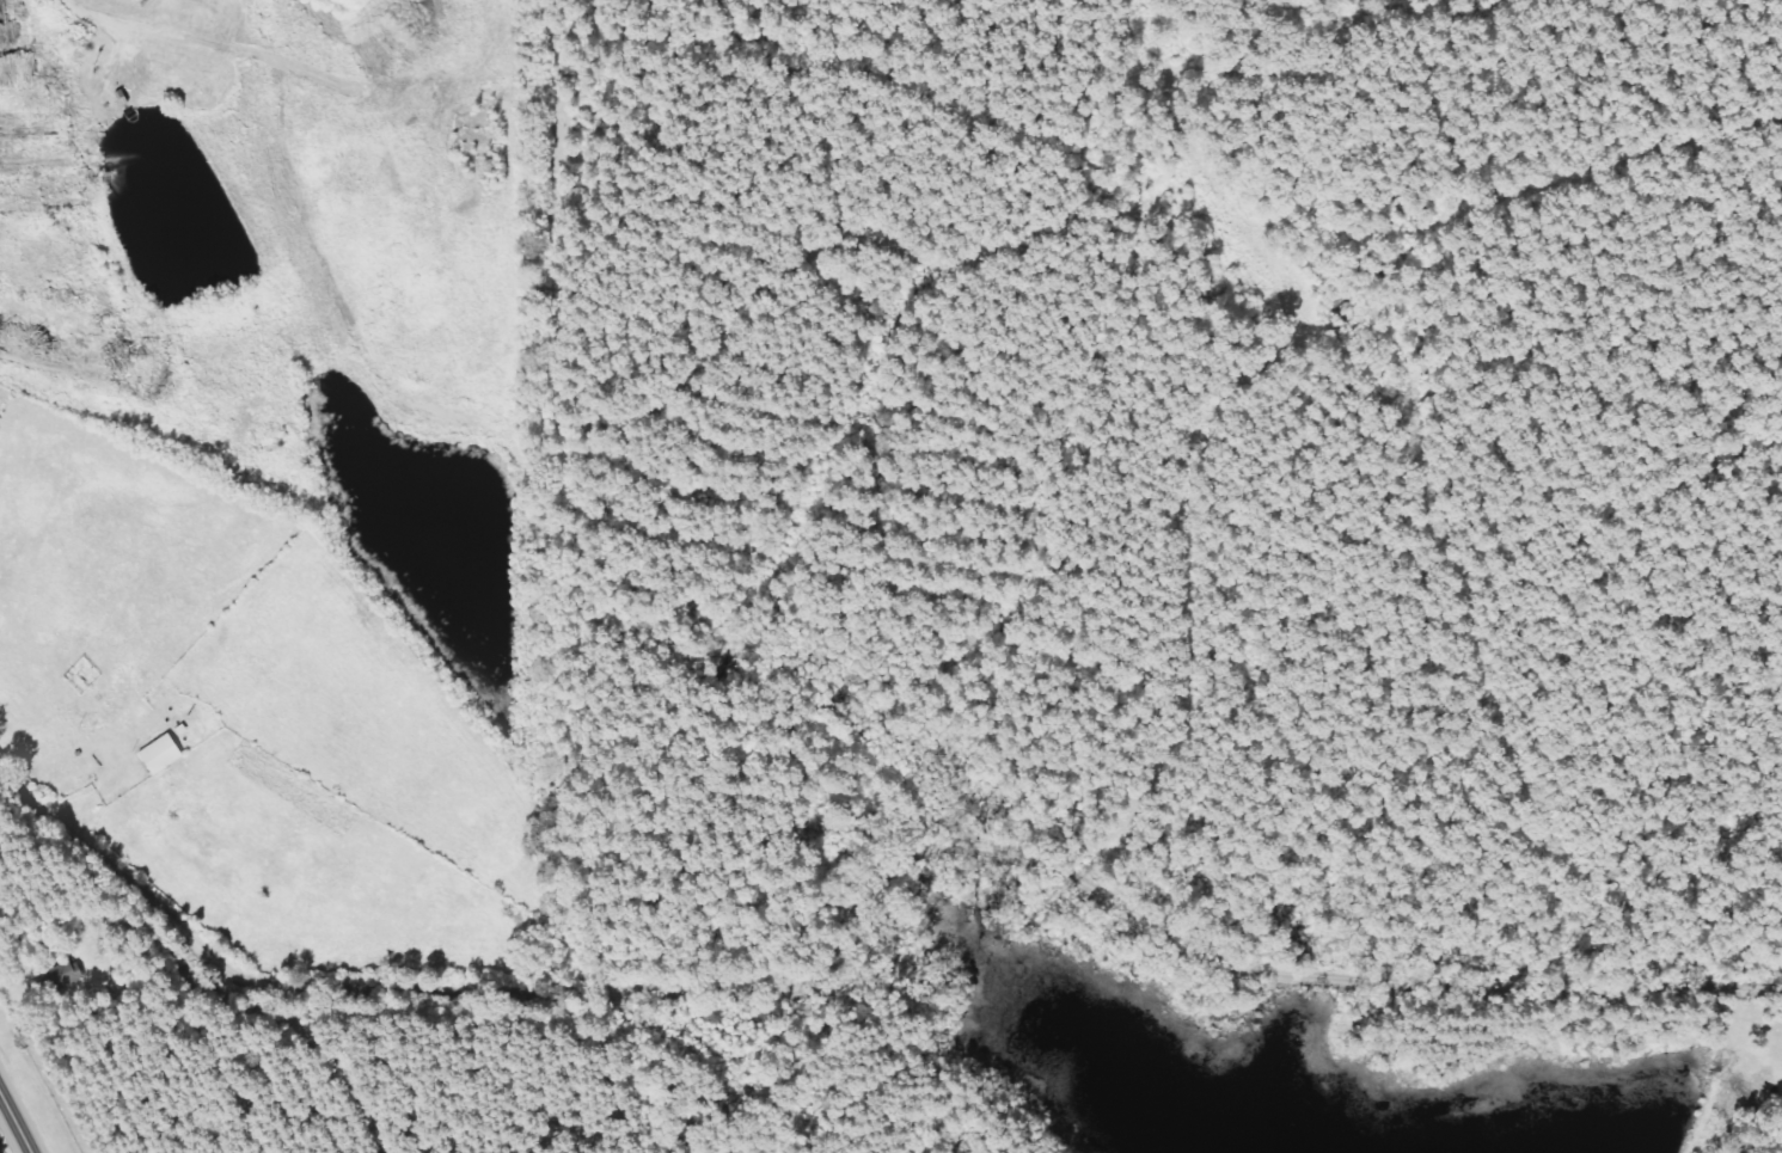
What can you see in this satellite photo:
road: (1201, 608)
building: (167, 755)
road: (853, 902)
road: (17, 1117)

